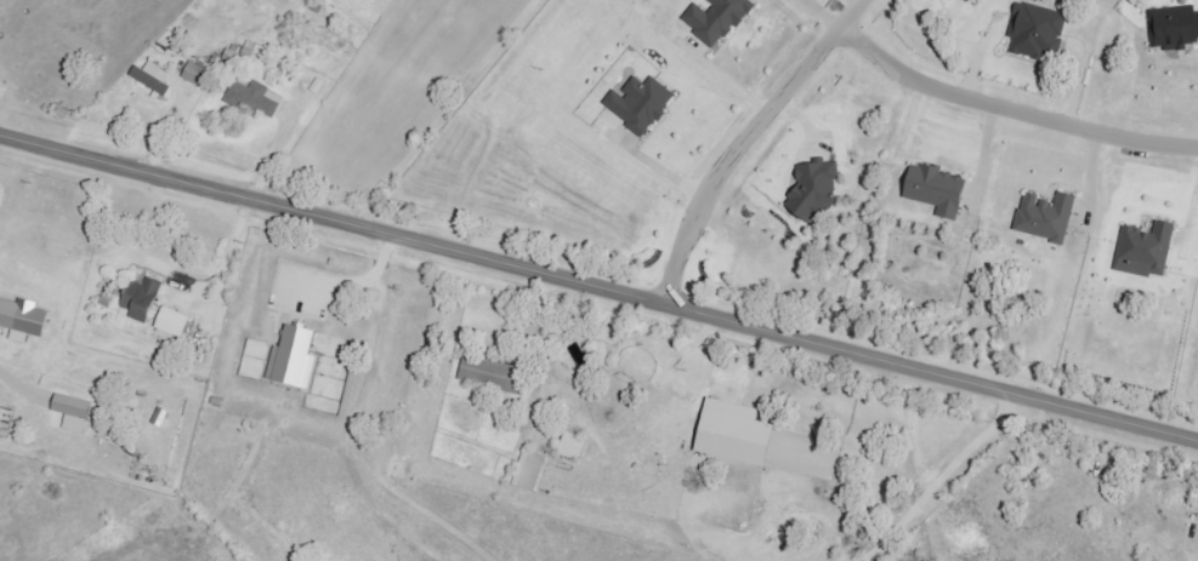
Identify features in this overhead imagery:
building: (720, 19)
building: (1175, 29)
building: (1040, 32)
building: (198, 74)
building: (155, 78)
road: (1015, 96)
building: (257, 99)
building: (643, 104)
road: (745, 143)
building: (939, 190)
building: (817, 191)
building: (1050, 217)
building: (1148, 251)
road: (598, 290)
building: (147, 299)
building: (27, 320)
building: (177, 324)
building: (297, 357)
building: (494, 376)
building: (78, 413)
building: (742, 434)
building: (577, 446)
building: (532, 471)
building: (1197, 508)

